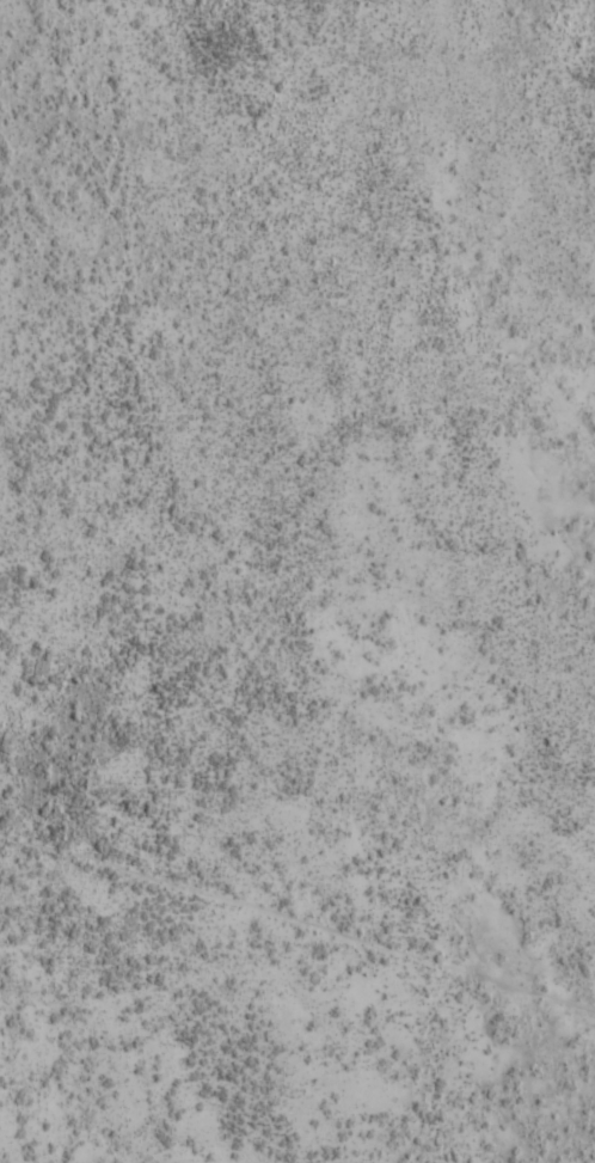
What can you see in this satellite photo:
road: (297, 918)

